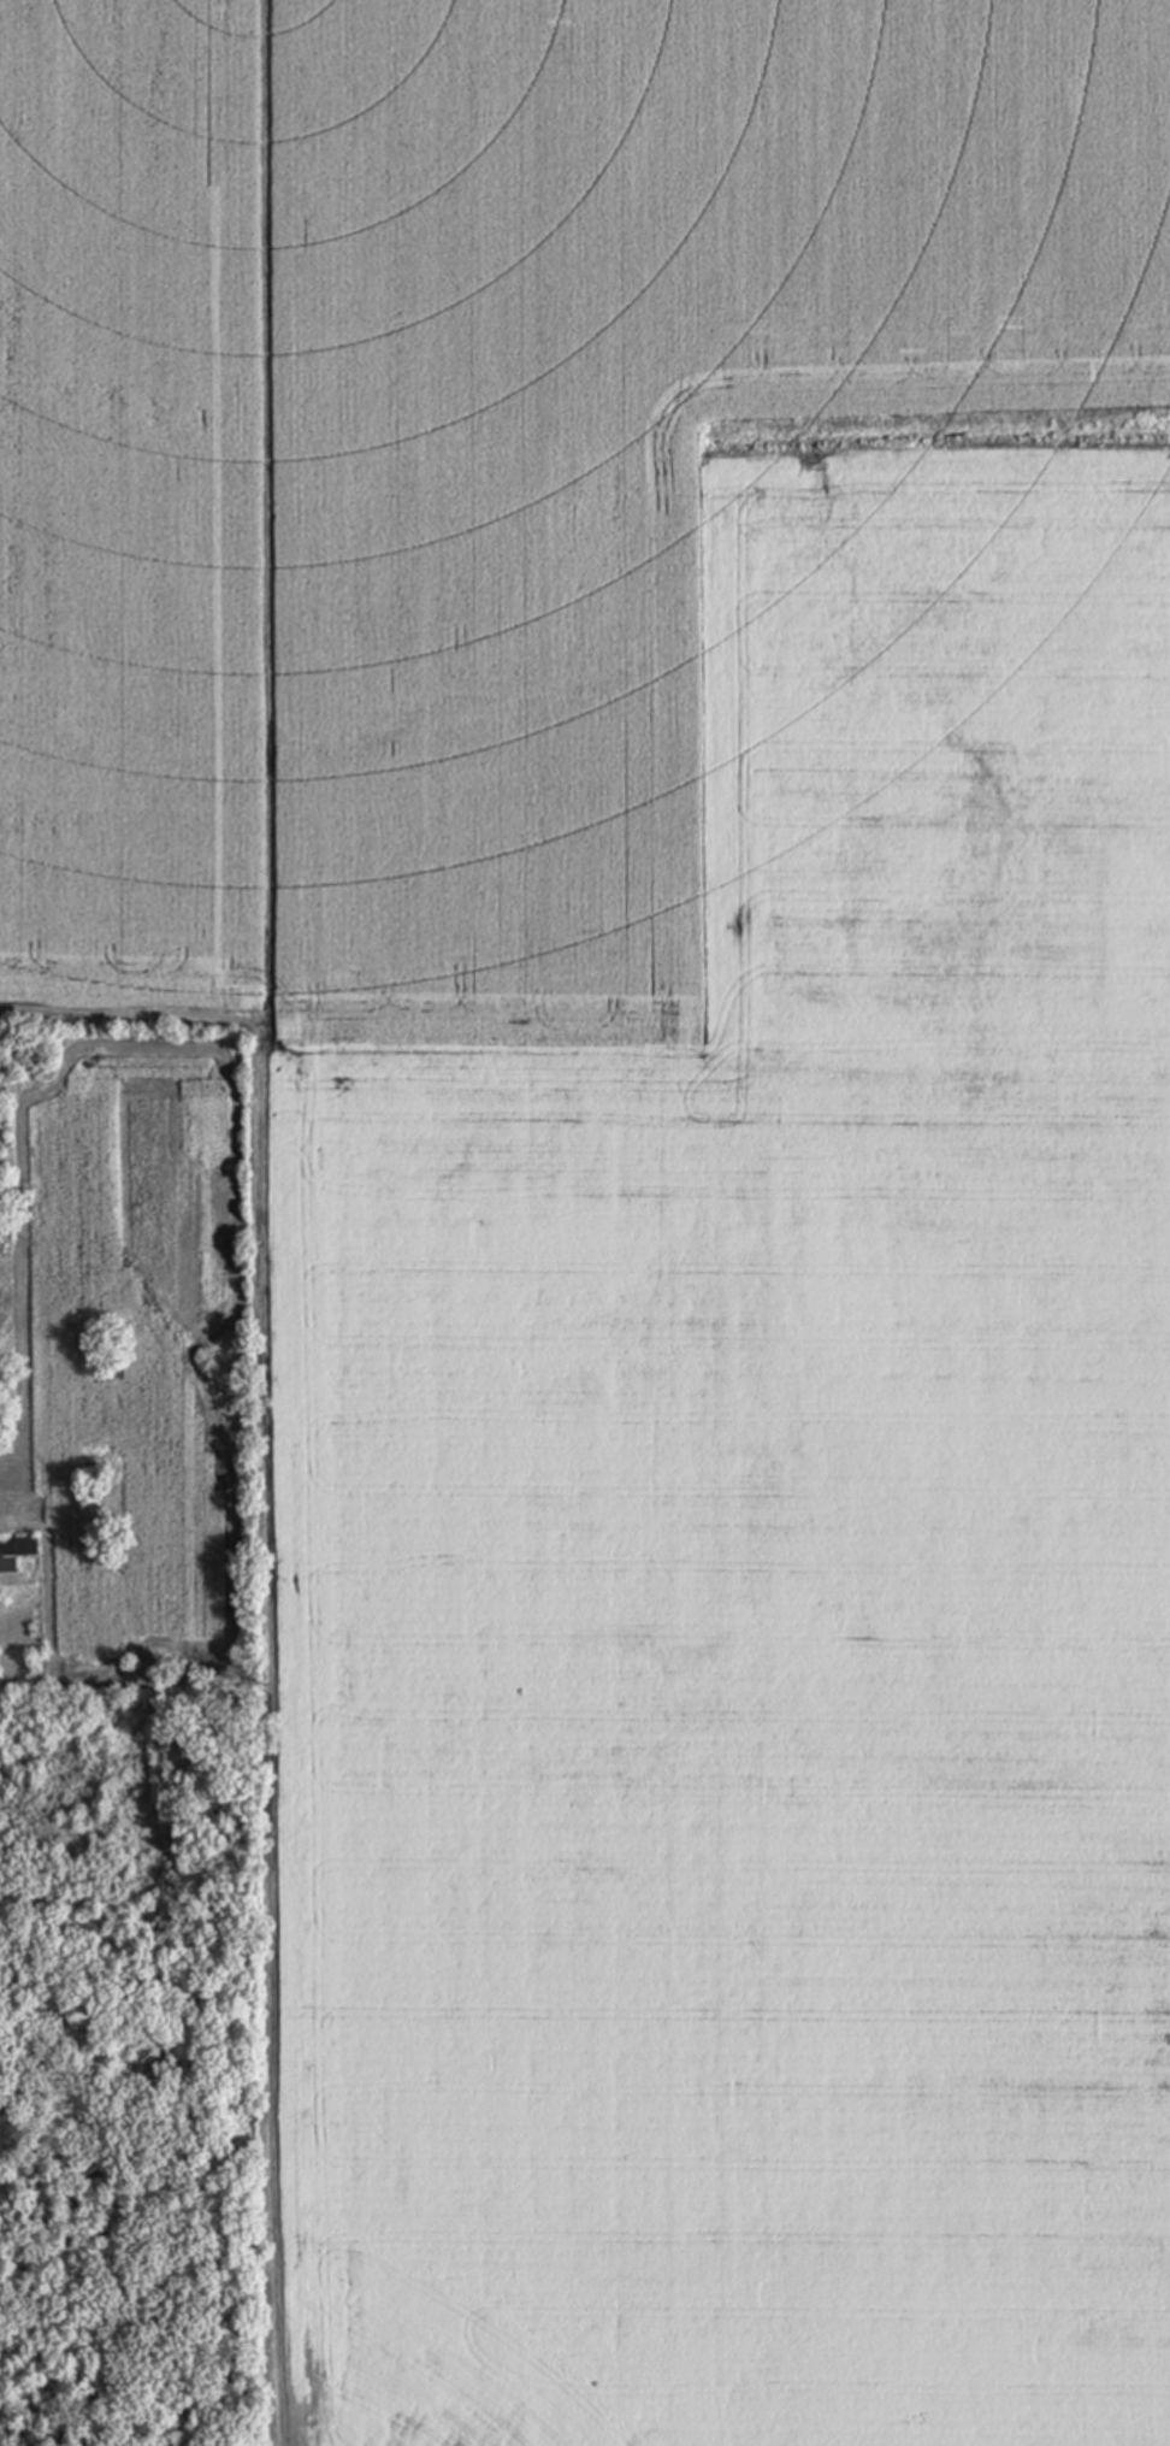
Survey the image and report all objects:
building: (16, 1554)

